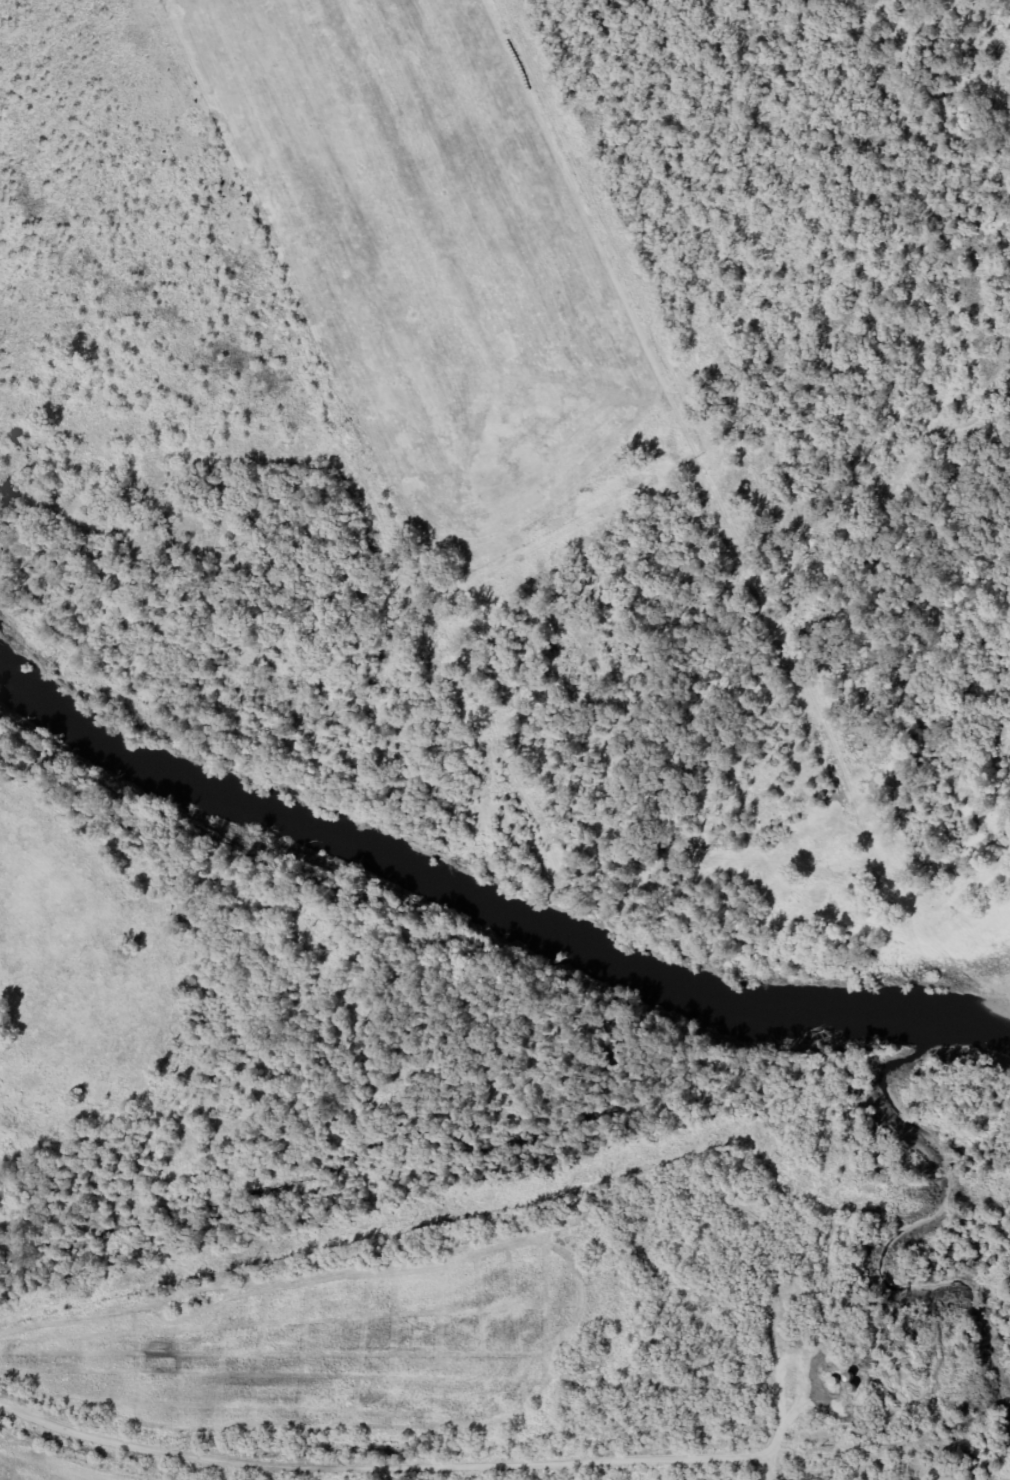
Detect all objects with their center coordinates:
river: (487, 915)
road: (503, 1253)
railway: (501, 1461)

